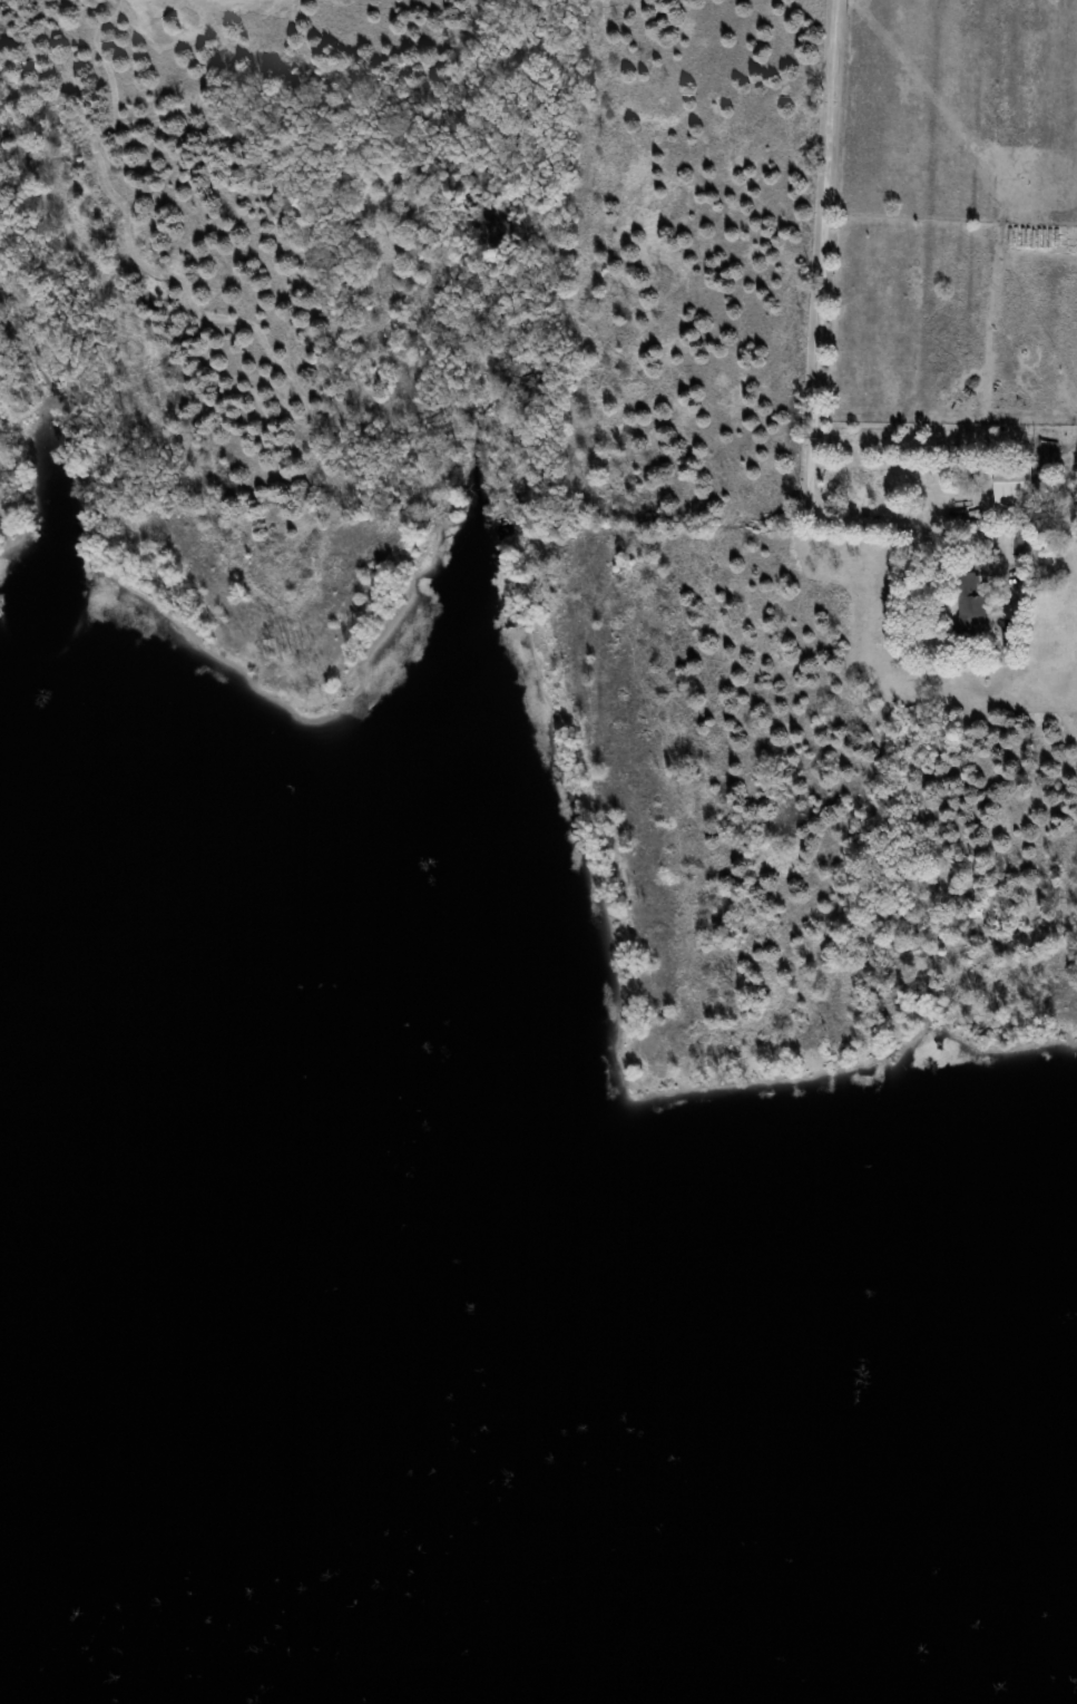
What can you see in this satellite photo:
road: (812, 349)
building: (1008, 476)
building: (969, 608)

